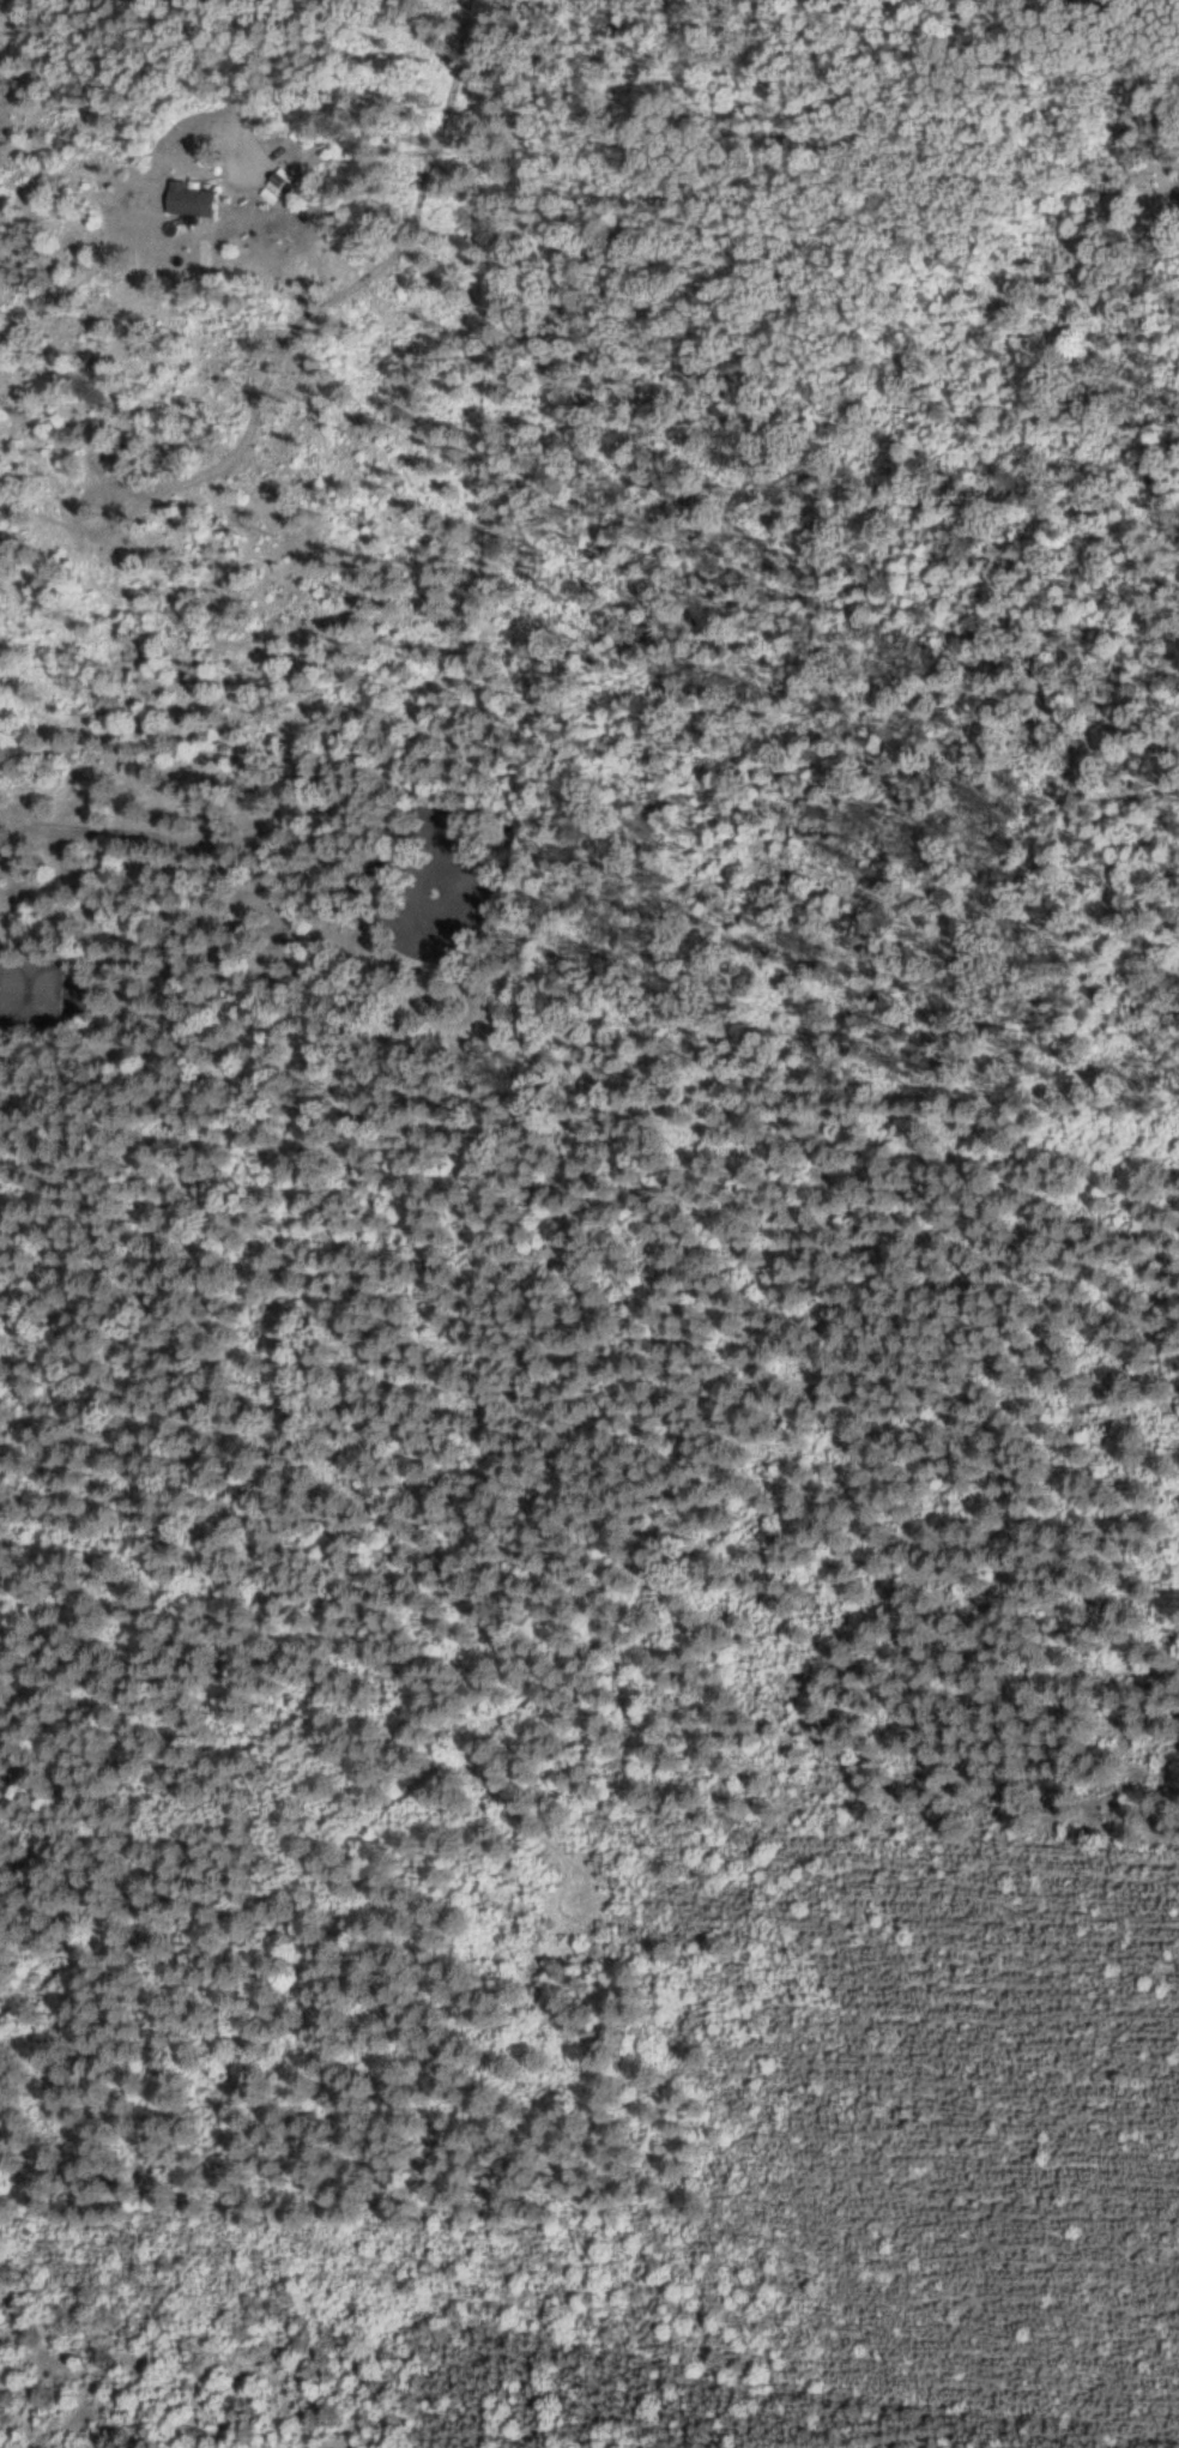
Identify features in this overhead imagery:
building: (182, 195)
road: (214, 526)

